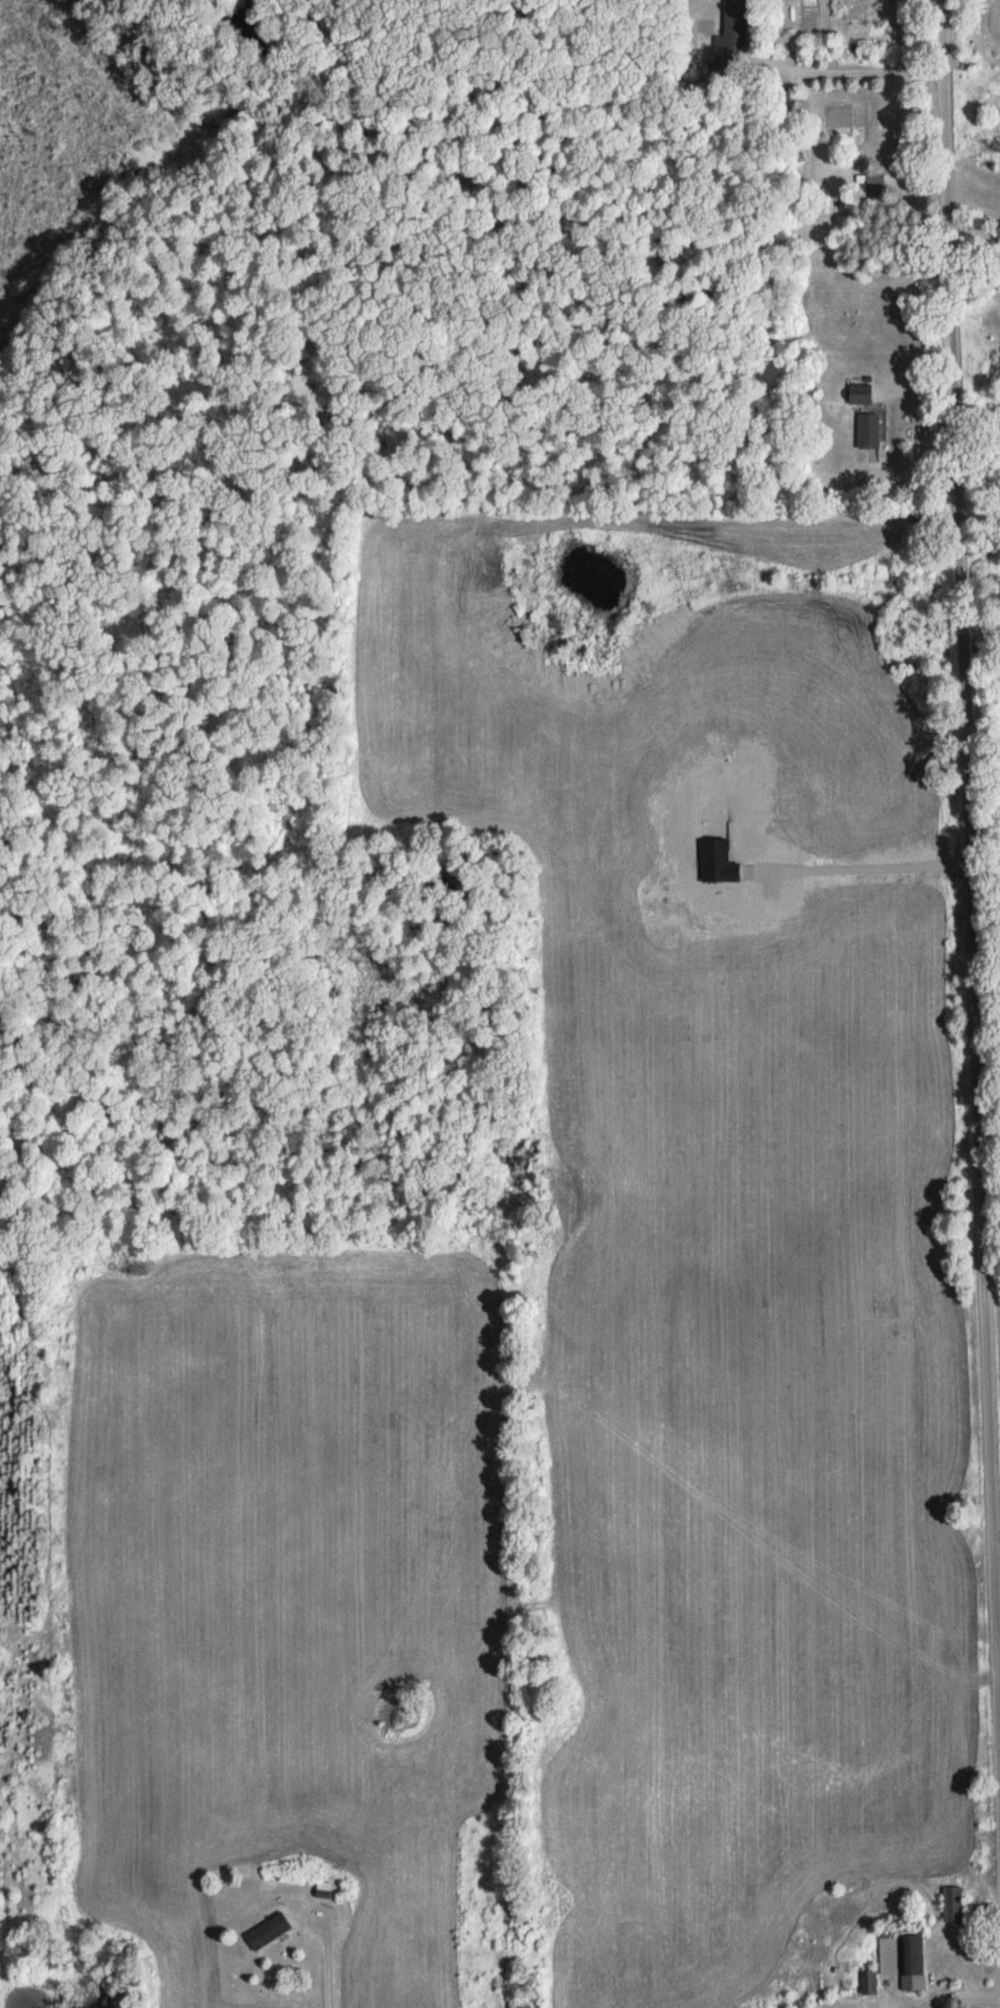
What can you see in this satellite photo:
building: (730, 32)
road: (856, 69)
building: (874, 183)
building: (999, 233)
building: (859, 393)
building: (870, 430)
road: (972, 873)
building: (323, 1889)
building: (952, 1907)
building: (268, 1931)
building: (902, 1955)
road: (327, 1958)
building: (868, 1982)

